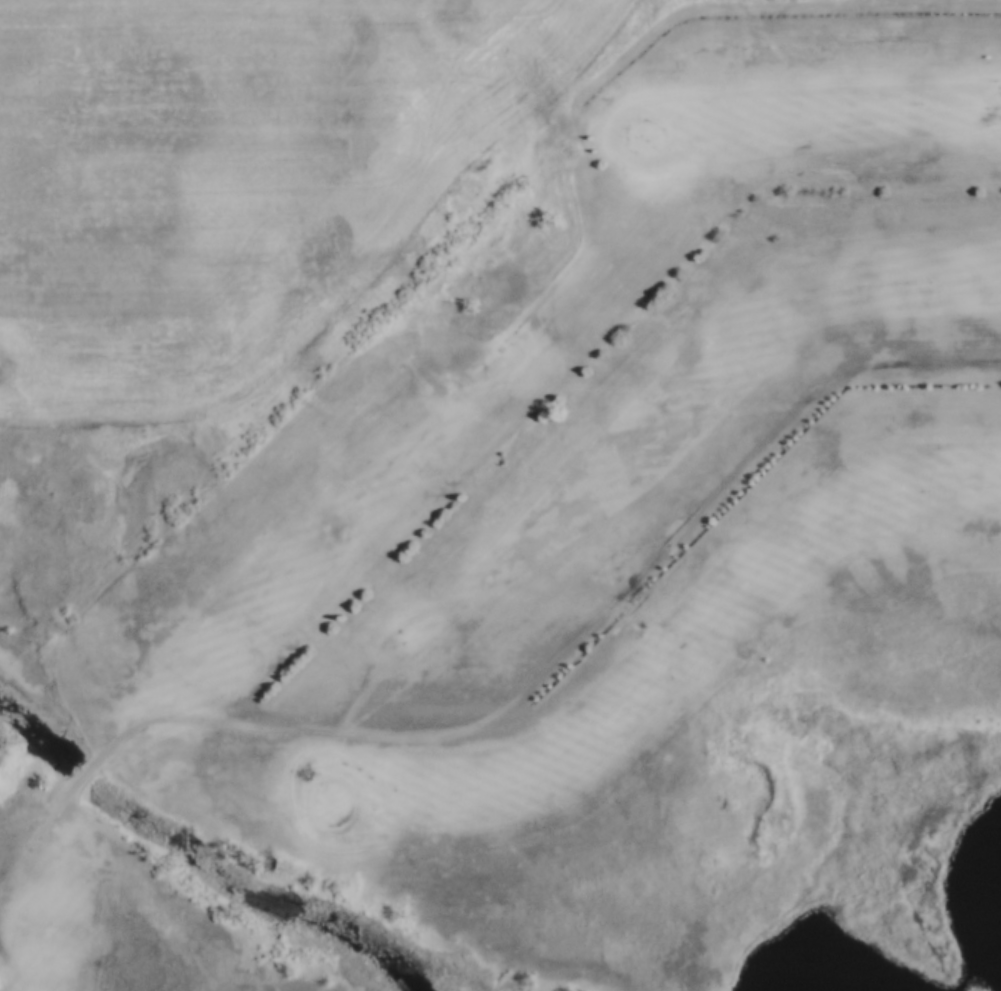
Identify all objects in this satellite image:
park: (584, 574)
road: (228, 720)

